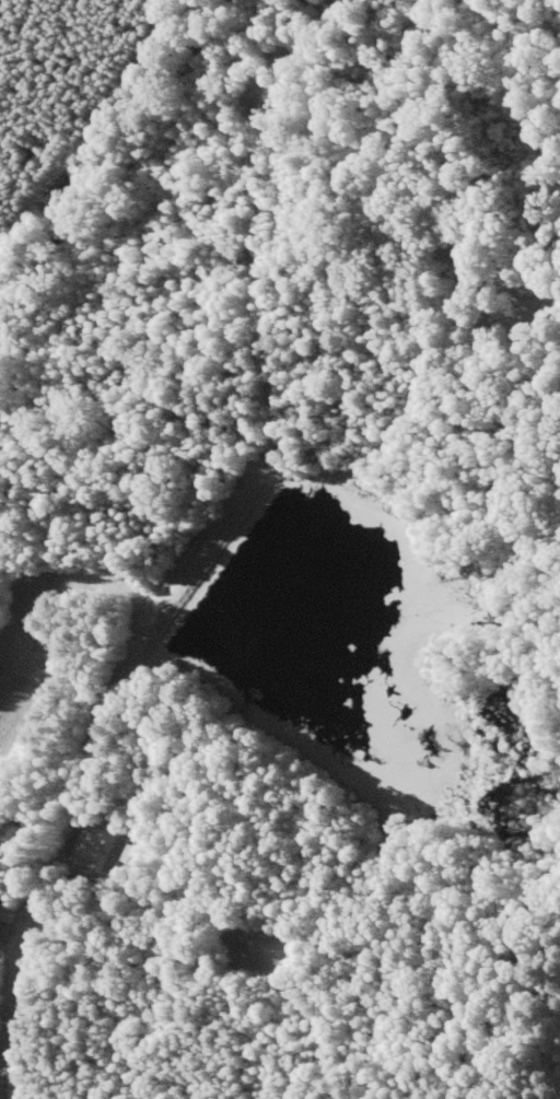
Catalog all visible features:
building: (109, 852)
building: (3, 932)

